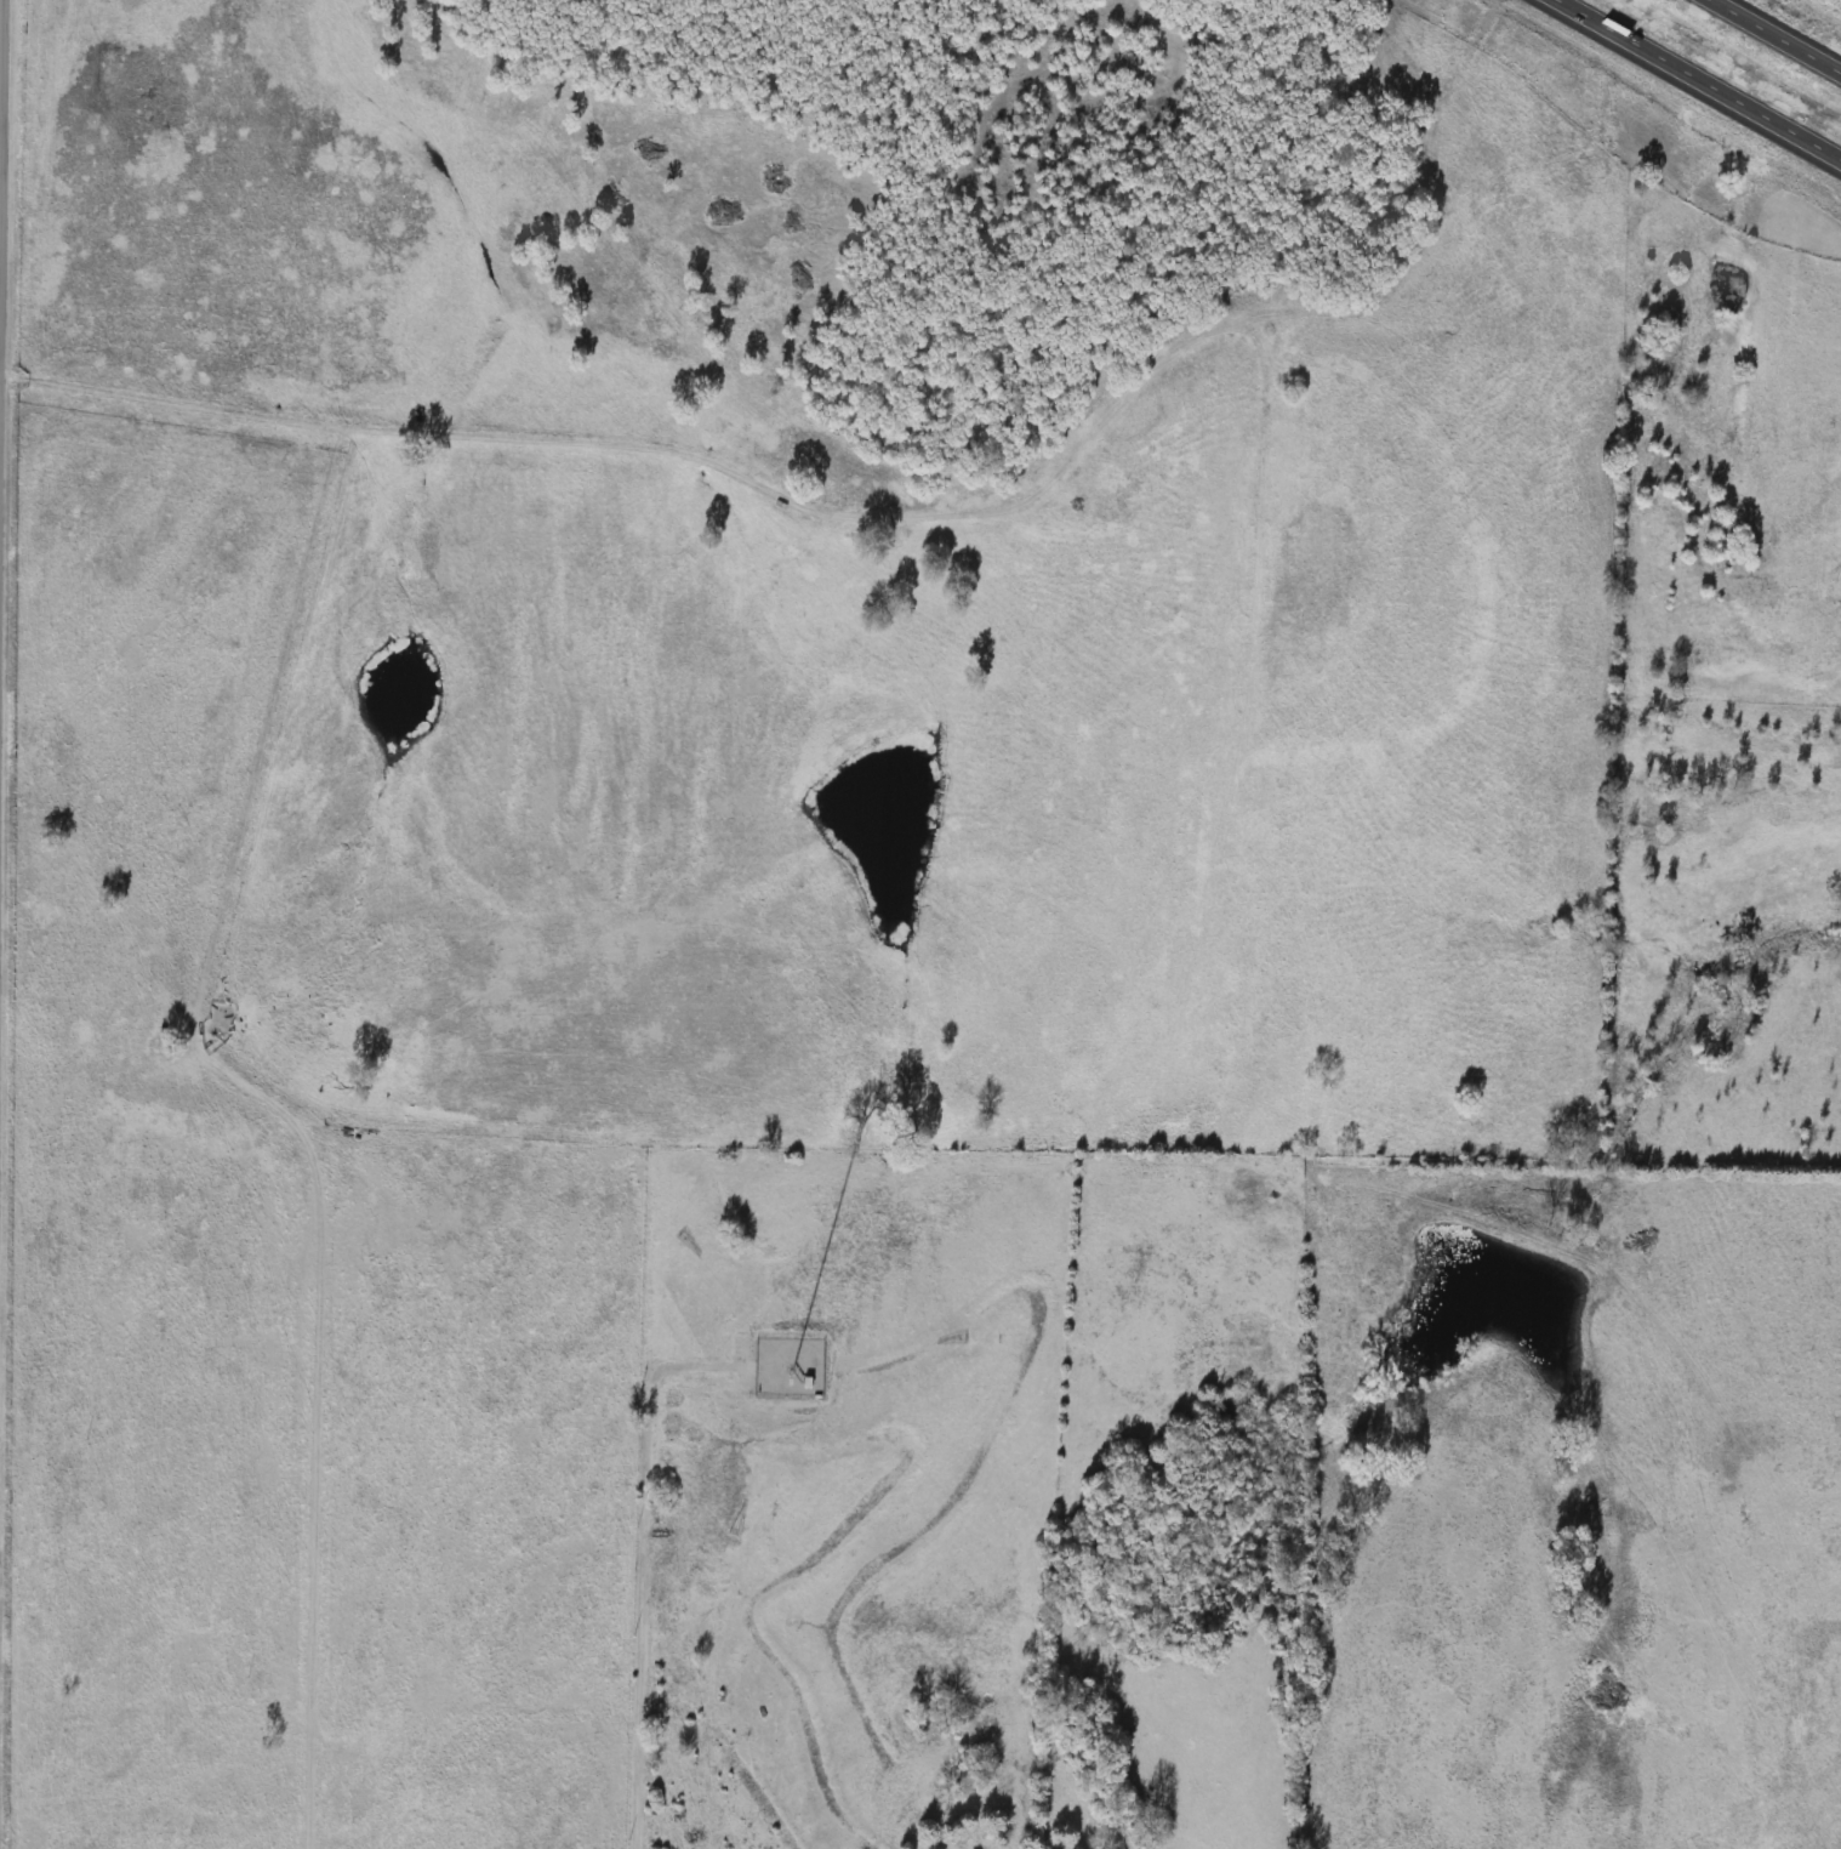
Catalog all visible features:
road: (1776, 35)
road: (1697, 80)
road: (4, 131)
road: (640, 1615)

